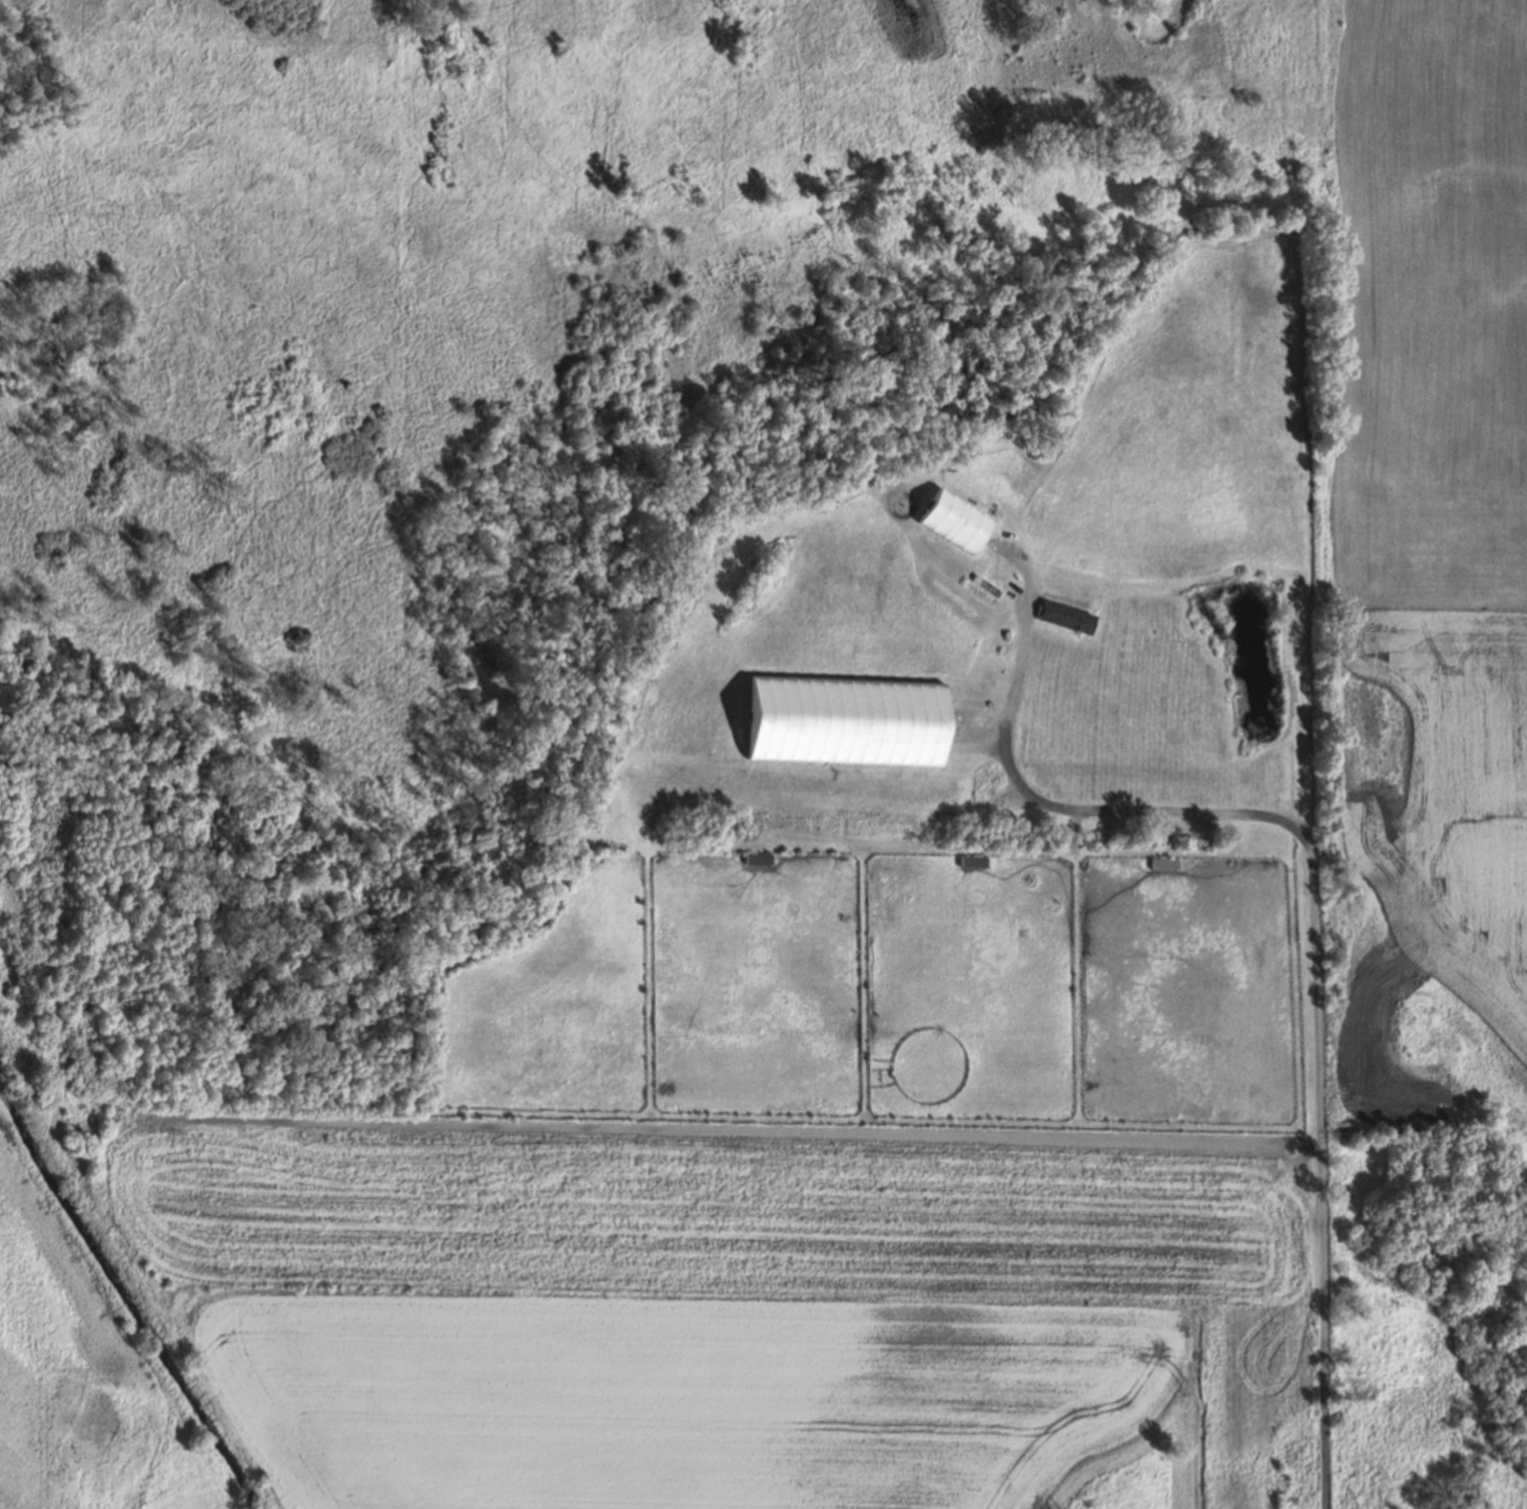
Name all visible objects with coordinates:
building: (950, 518)
building: (1061, 613)
building: (842, 718)
building: (755, 853)
building: (604, 855)
building: (970, 856)
building: (757, 858)
building: (1161, 858)
building: (974, 861)
building: (1164, 863)
road: (1314, 902)

